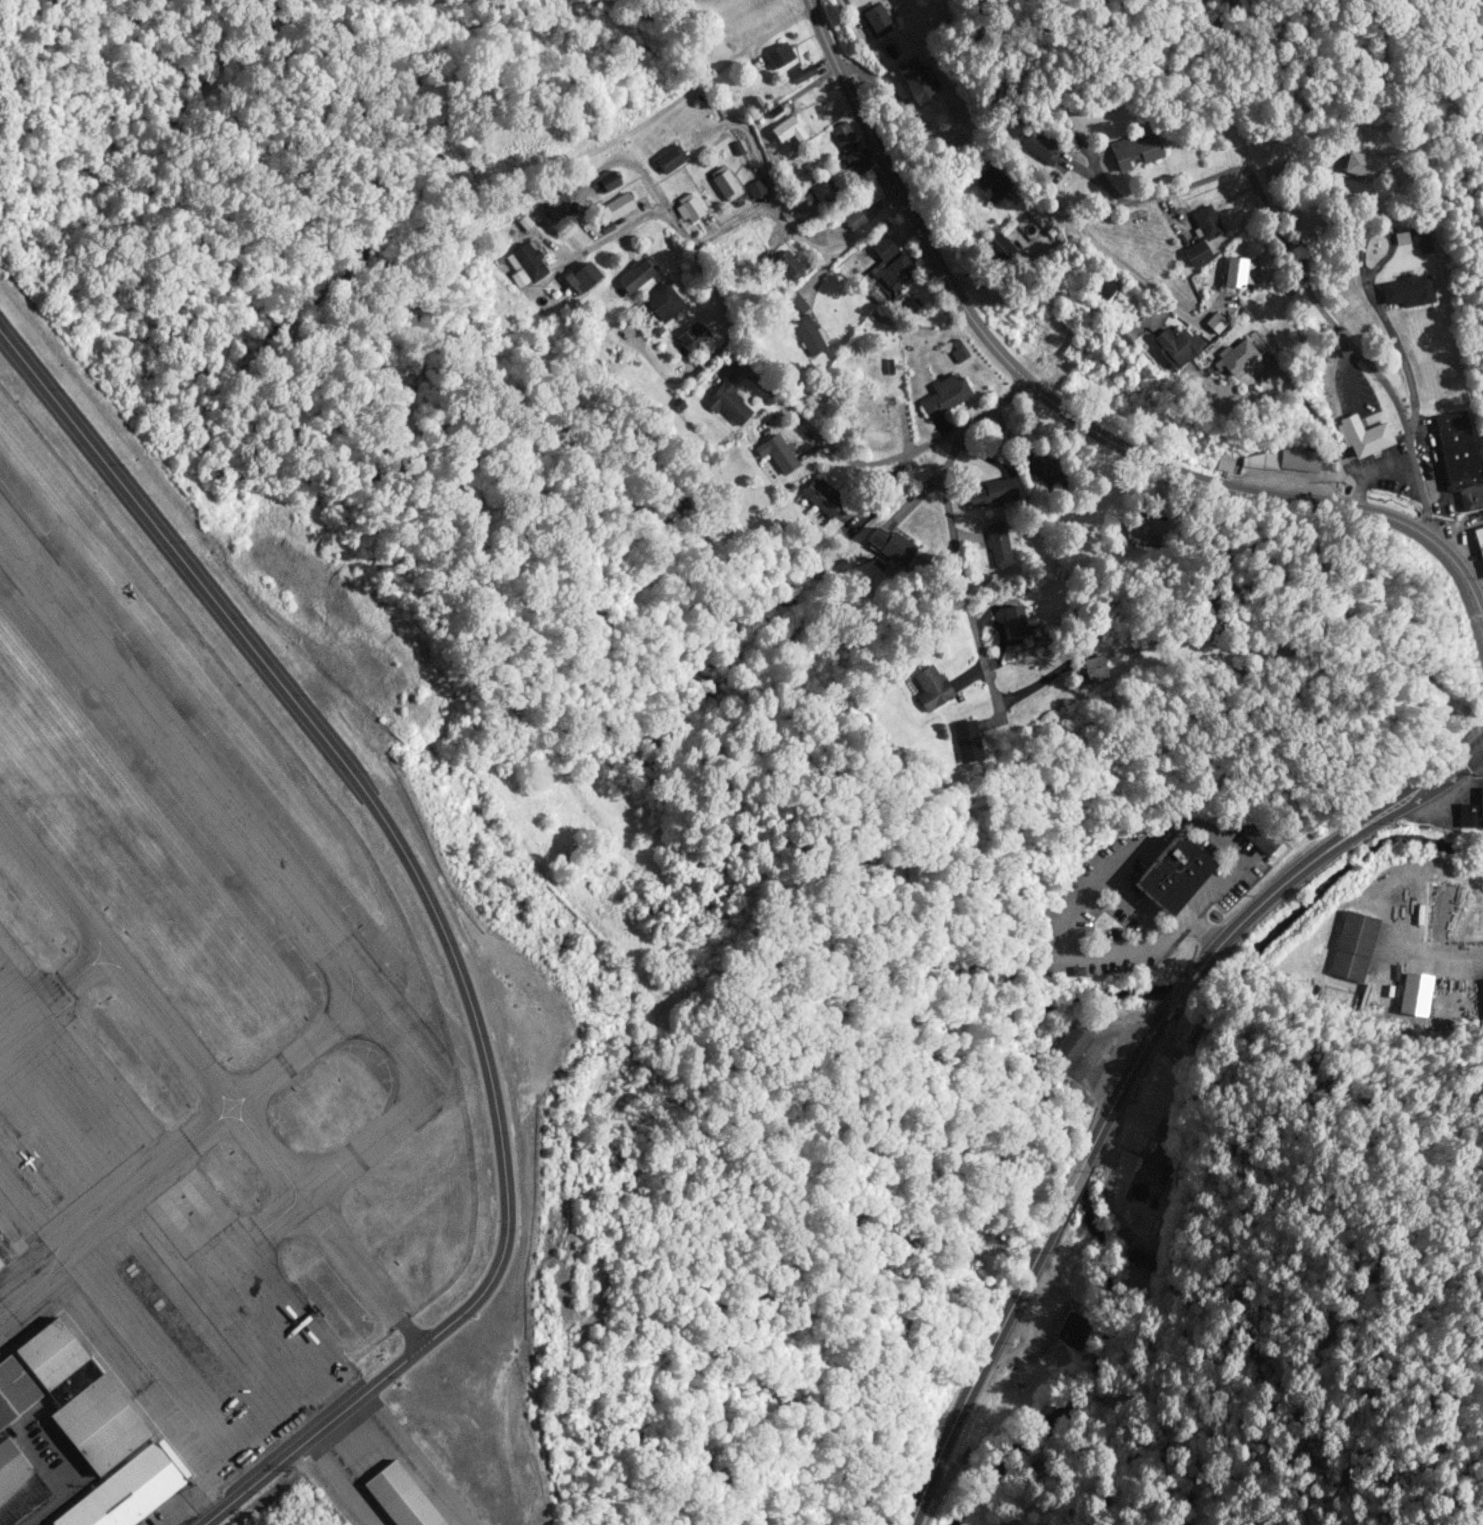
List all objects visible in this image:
building: (875, 20)
building: (778, 56)
building: (800, 71)
building: (916, 80)
park: (1261, 87)
building: (769, 95)
building: (756, 101)
road: (649, 123)
building: (788, 128)
building: (842, 133)
road: (750, 139)
building: (1038, 145)
building: (737, 147)
building: (1134, 150)
building: (669, 158)
building: (854, 159)
building: (1367, 165)
building: (607, 181)
building: (992, 182)
building: (725, 183)
building: (756, 187)
building: (821, 187)
building: (617, 205)
building: (556, 206)
building: (688, 207)
building: (853, 217)
building: (525, 221)
building: (1206, 222)
road: (630, 224)
building: (607, 227)
road: (801, 229)
building: (1052, 229)
building: (1420, 236)
building: (884, 248)
building: (999, 248)
building: (1196, 253)
building: (499, 259)
building: (525, 264)
building: (785, 264)
building: (894, 270)
road: (1126, 270)
road: (1299, 270)
road: (820, 272)
building: (1236, 272)
building: (635, 276)
building: (579, 279)
building: (1103, 286)
building: (1408, 290)
road: (1371, 295)
building: (663, 301)
building: (793, 304)
building: (913, 304)
building: (878, 317)
building: (885, 320)
building: (1215, 322)
building: (809, 335)
building: (693, 336)
building: (1125, 338)
building: (1176, 345)
building: (958, 351)
road: (711, 354)
building: (1234, 356)
building: (889, 365)
building: (944, 395)
building: (727, 402)
building: (678, 404)
building: (869, 412)
road: (1072, 415)
building: (1362, 435)
building: (777, 452)
building: (1459, 457)
building: (1290, 460)
road: (877, 461)
building: (1224, 461)
building: (1043, 468)
building: (993, 492)
building: (822, 495)
building: (1146, 530)
building: (1479, 539)
building: (893, 545)
building: (999, 545)
road: (962, 572)
building: (1014, 620)
building: (1133, 649)
building: (1093, 669)
building: (931, 687)
building: (967, 740)
airport taxiway: (185, 762)
road: (1420, 790)
building: (1481, 802)
building: (1469, 815)
building: (1258, 836)
building: (1173, 873)
road: (1280, 888)
airport taxiway: (152, 909)
road: (441, 926)
building: (1352, 945)
road: (1436, 963)
building: (1482, 986)
road: (1182, 991)
building: (1415, 993)
airport taxiway: (151, 1008)
airport: (252, 1042)
building: (1069, 1045)
airport taxiway: (278, 1067)
road: (1118, 1094)
airport hangar: (373, 1099)
building: (373, 1099)
building: (1161, 1131)
building: (1155, 1162)
road: (1073, 1183)
river: (1066, 1188)
road: (480, 1207)
airport taxiway: (283, 1217)
airport hangar: (326, 1227)
building: (326, 1227)
road: (404, 1232)
building: (1139, 1258)
building: (0, 1263)
road: (430, 1264)
airport apron: (177, 1281)
road: (372, 1287)
road: (332, 1317)
road: (402, 1328)
building: (1072, 1330)
building: (40, 1343)
building: (55, 1362)
road: (983, 1362)
building: (70, 1380)
building: (14, 1391)
building: (82, 1407)
building: (109, 1439)
building: (10, 1464)
building: (125, 1492)
building: (399, 1498)

